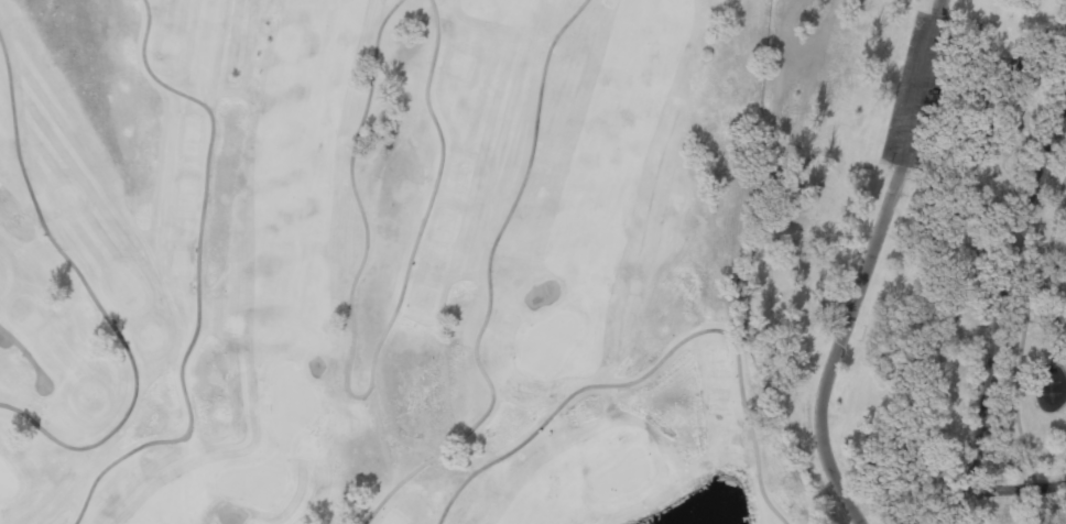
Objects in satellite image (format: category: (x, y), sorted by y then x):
parking lot: (912, 89)
road: (1064, 103)
park: (915, 255)
park: (383, 263)
road: (868, 265)
road: (197, 277)
road: (489, 282)
road: (94, 297)
road: (1016, 308)
building: (1062, 316)
road: (1019, 349)
road: (26, 353)
road: (657, 362)
road: (358, 396)
road: (1021, 483)

